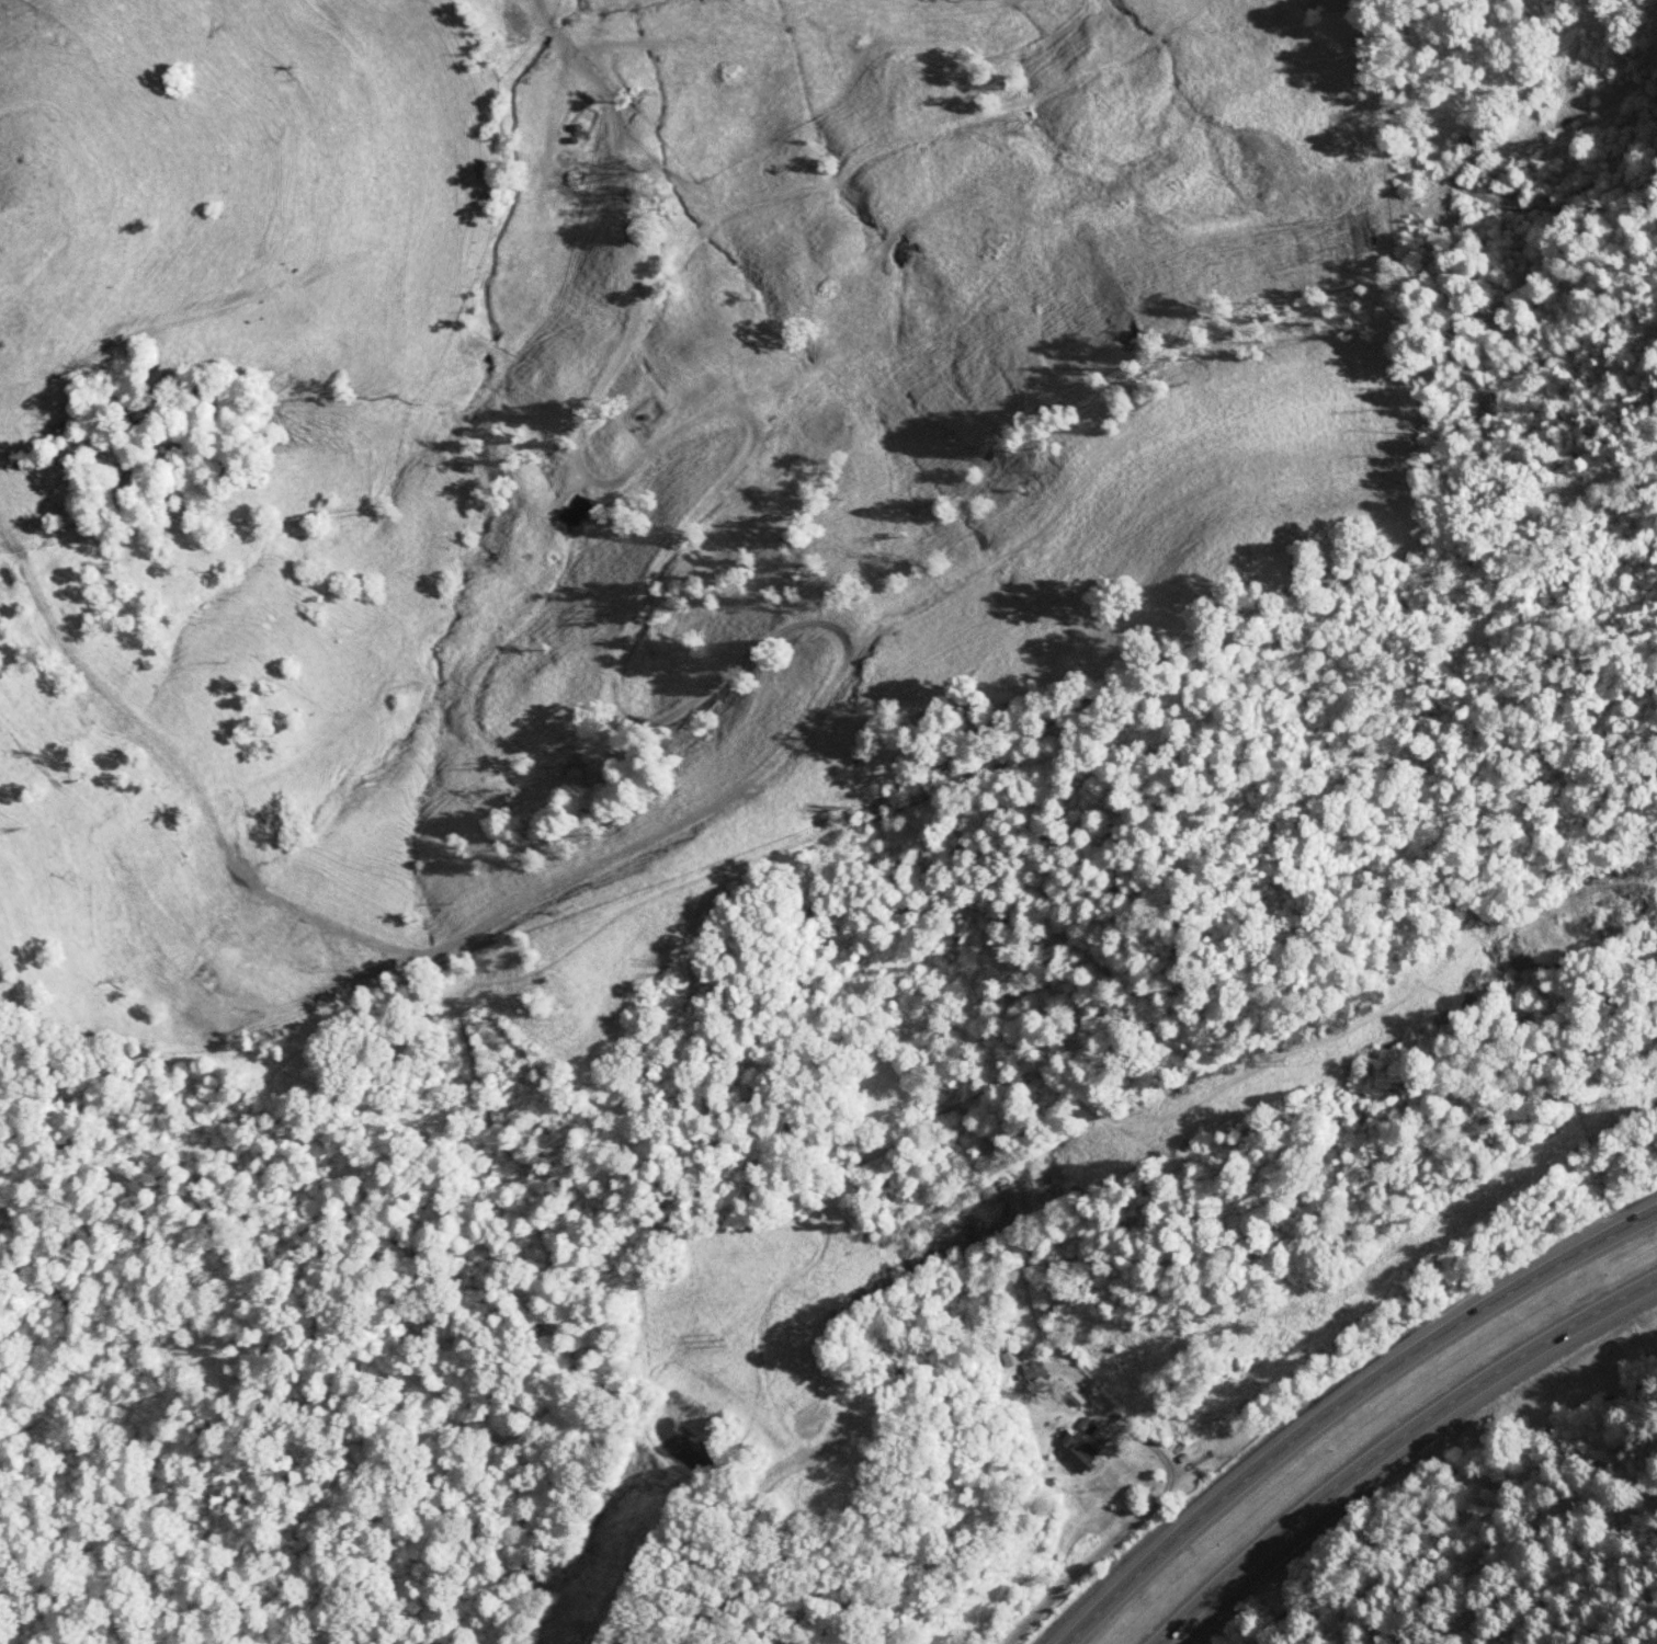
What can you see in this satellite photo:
road: (1339, 1400)
road: (1389, 1439)

